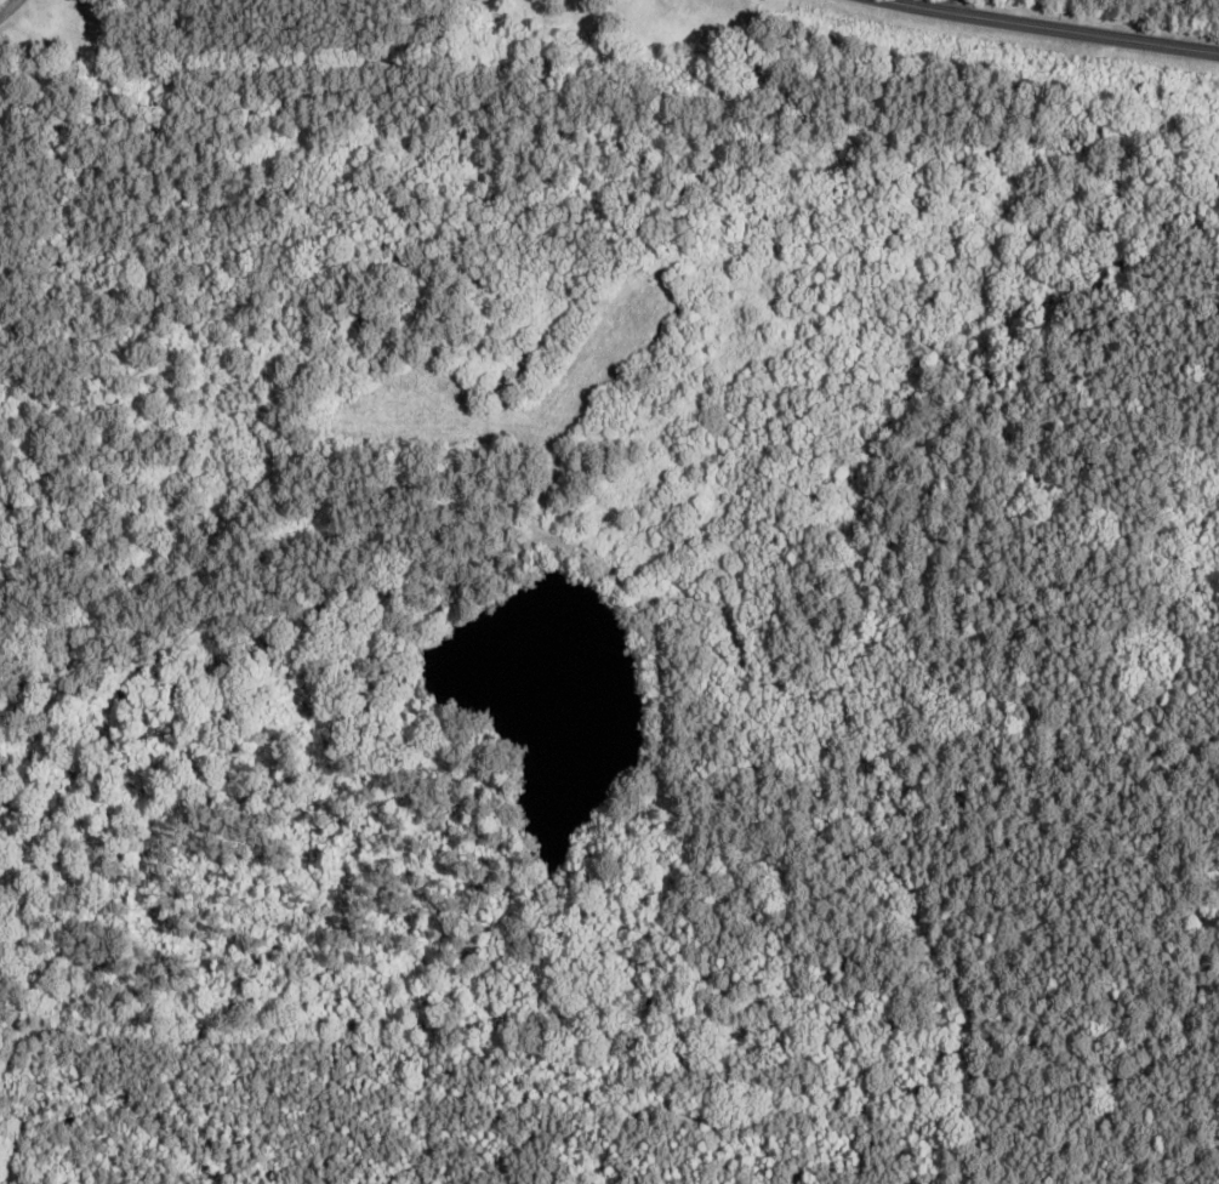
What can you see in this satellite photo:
road: (10, 6)
road: (1056, 24)
building: (560, 25)

